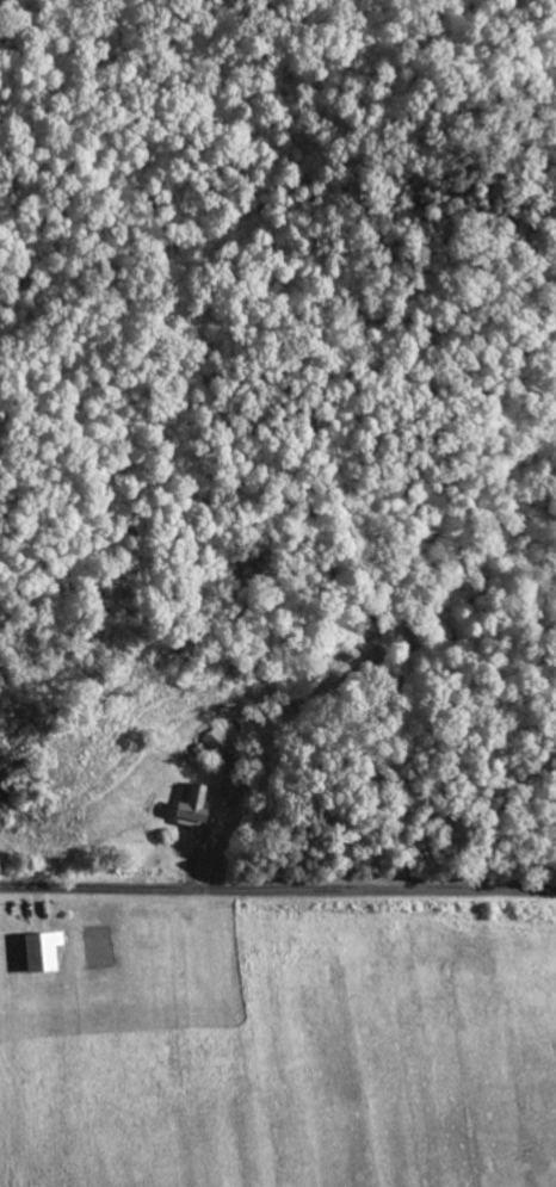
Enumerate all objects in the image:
building: (191, 806)
road: (277, 894)
building: (38, 951)

